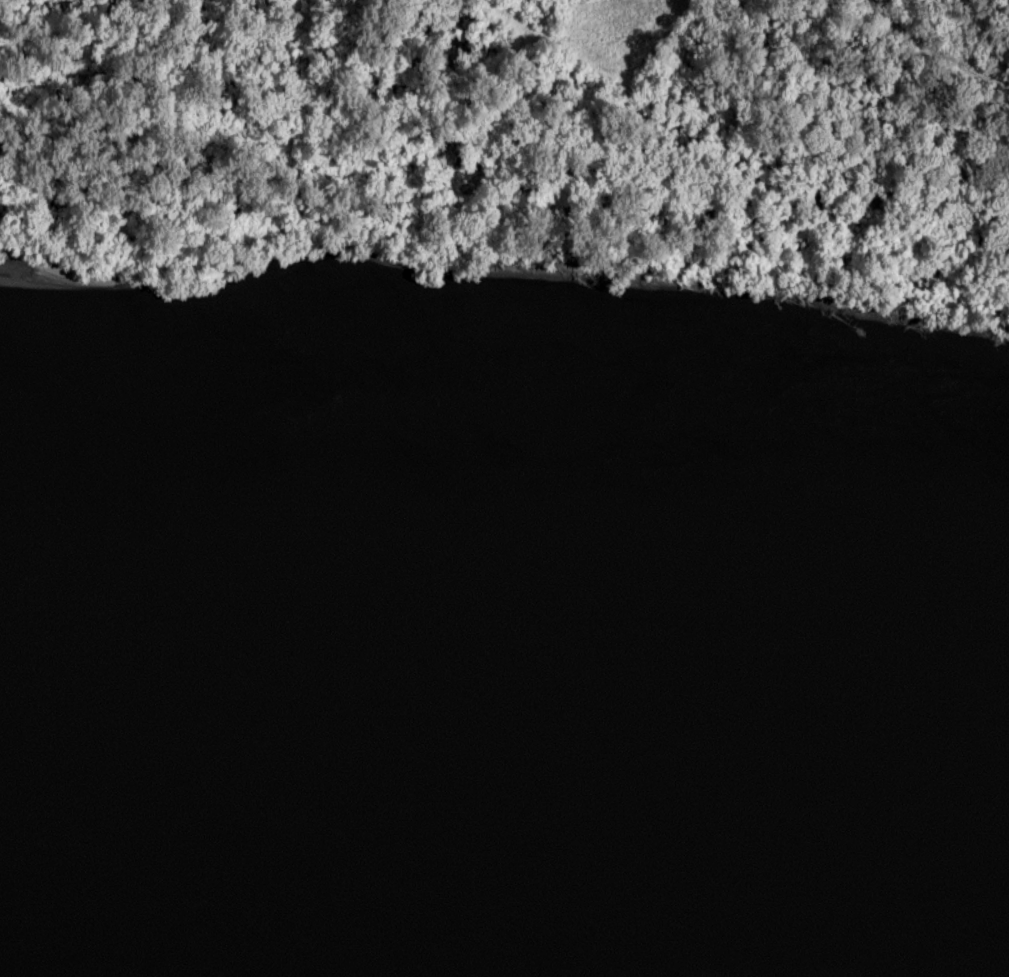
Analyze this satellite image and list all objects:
river: (504, 926)

